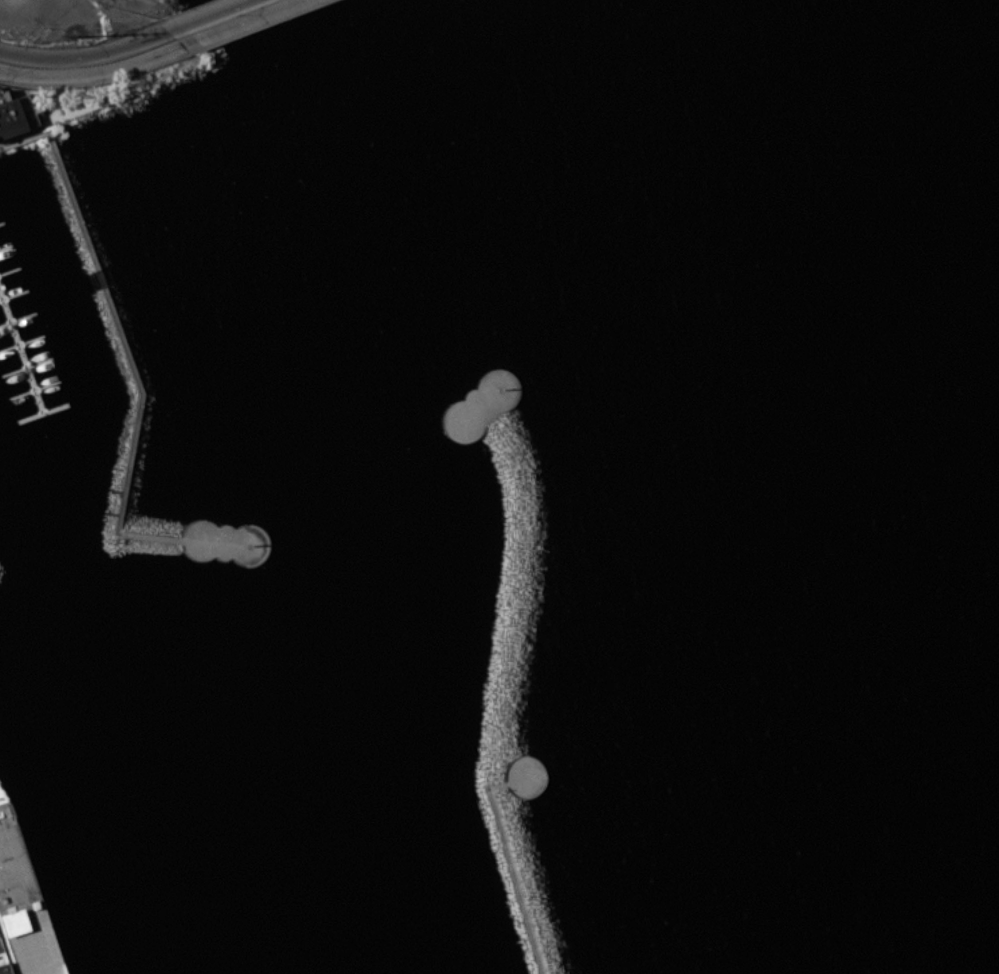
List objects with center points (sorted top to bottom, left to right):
road: (203, 15)
road: (241, 22)
road: (83, 53)
road: (92, 71)
building: (9, 115)
pier: (3, 186)
pier: (7, 210)
pier: (10, 235)
pier: (0, 245)
pier: (18, 260)
pier: (5, 272)
pier: (26, 282)
pier: (9, 300)
pier: (34, 306)
pier: (14, 328)
pier: (29, 328)
pier: (42, 330)
pier: (50, 353)
pier: (20, 355)
pier: (57, 374)
road: (135, 378)
pier: (29, 381)
pier: (49, 403)
road: (506, 855)
building: (22, 906)
building: (2, 964)

